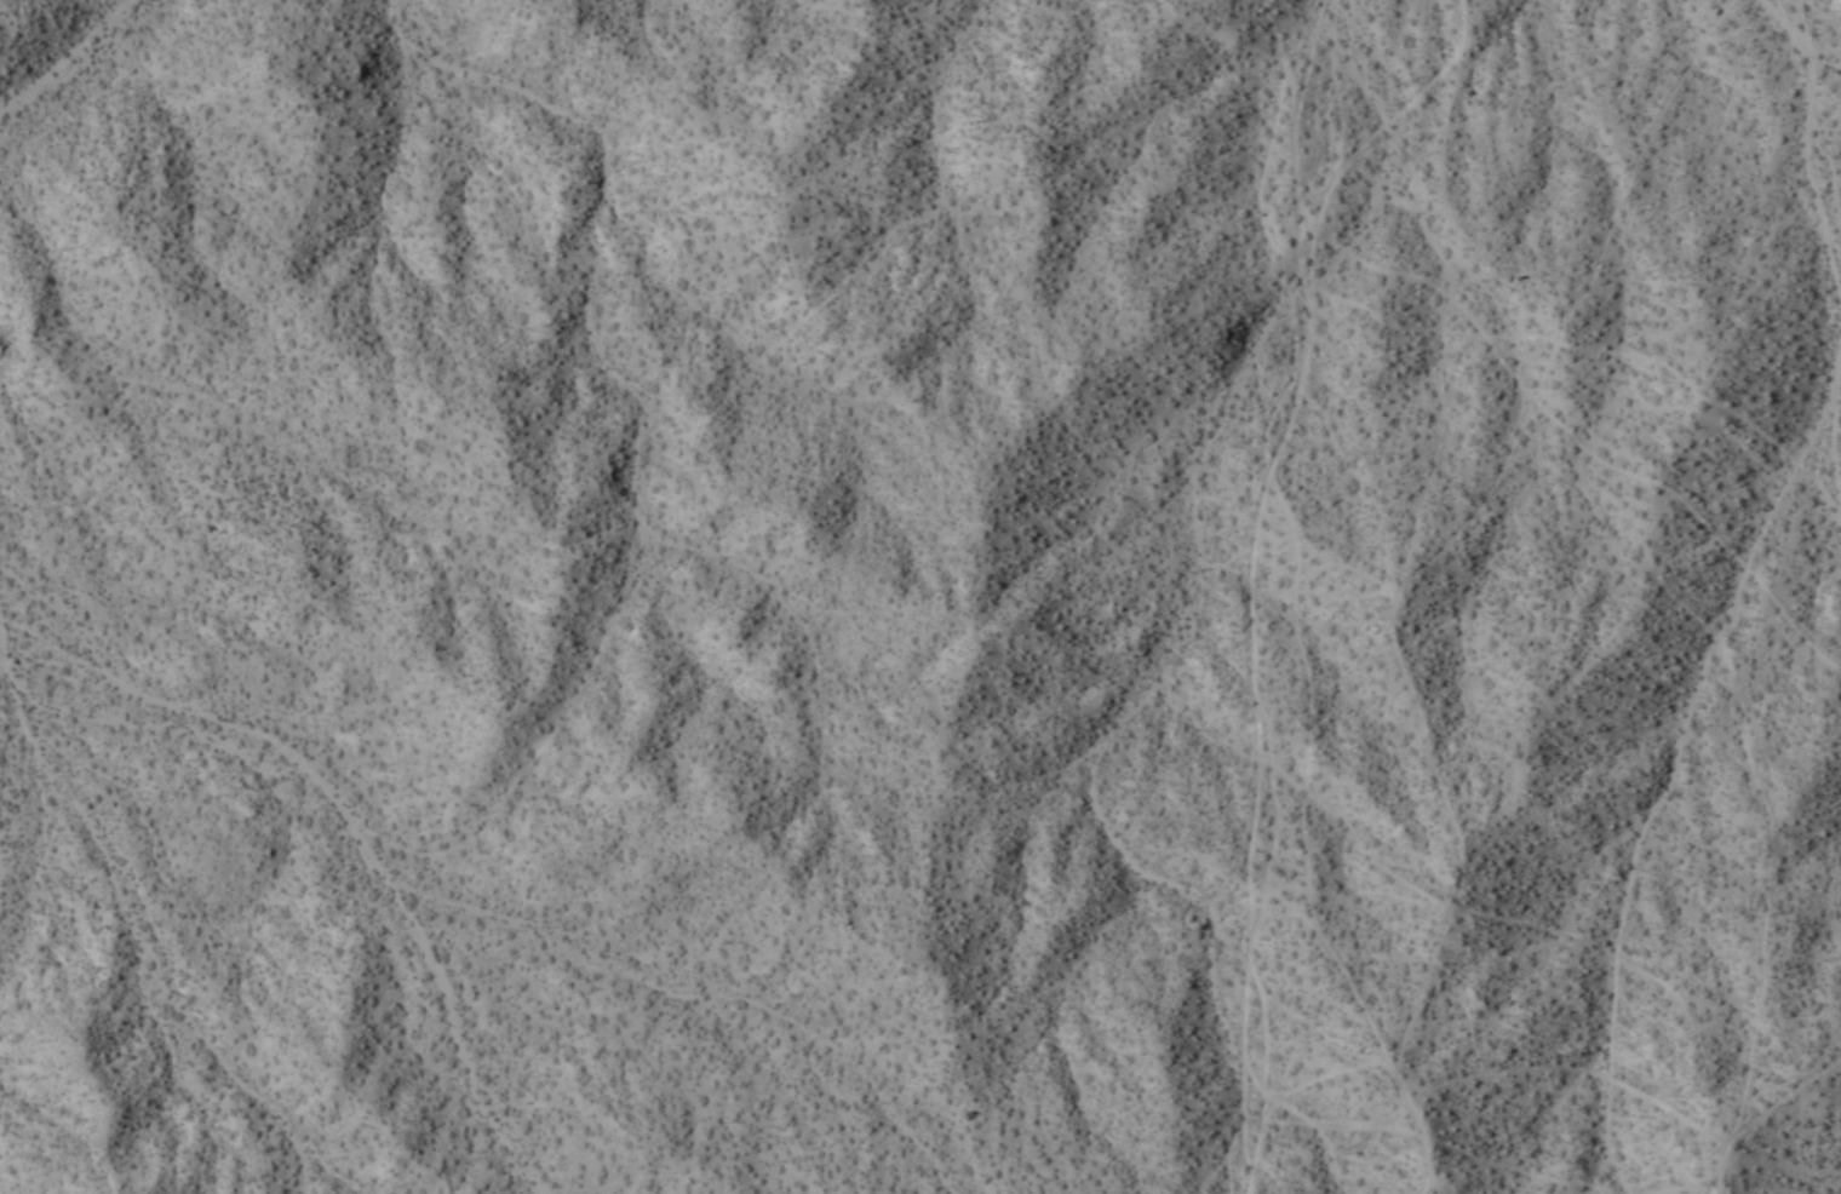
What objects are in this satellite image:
crop: (1548, 901)

